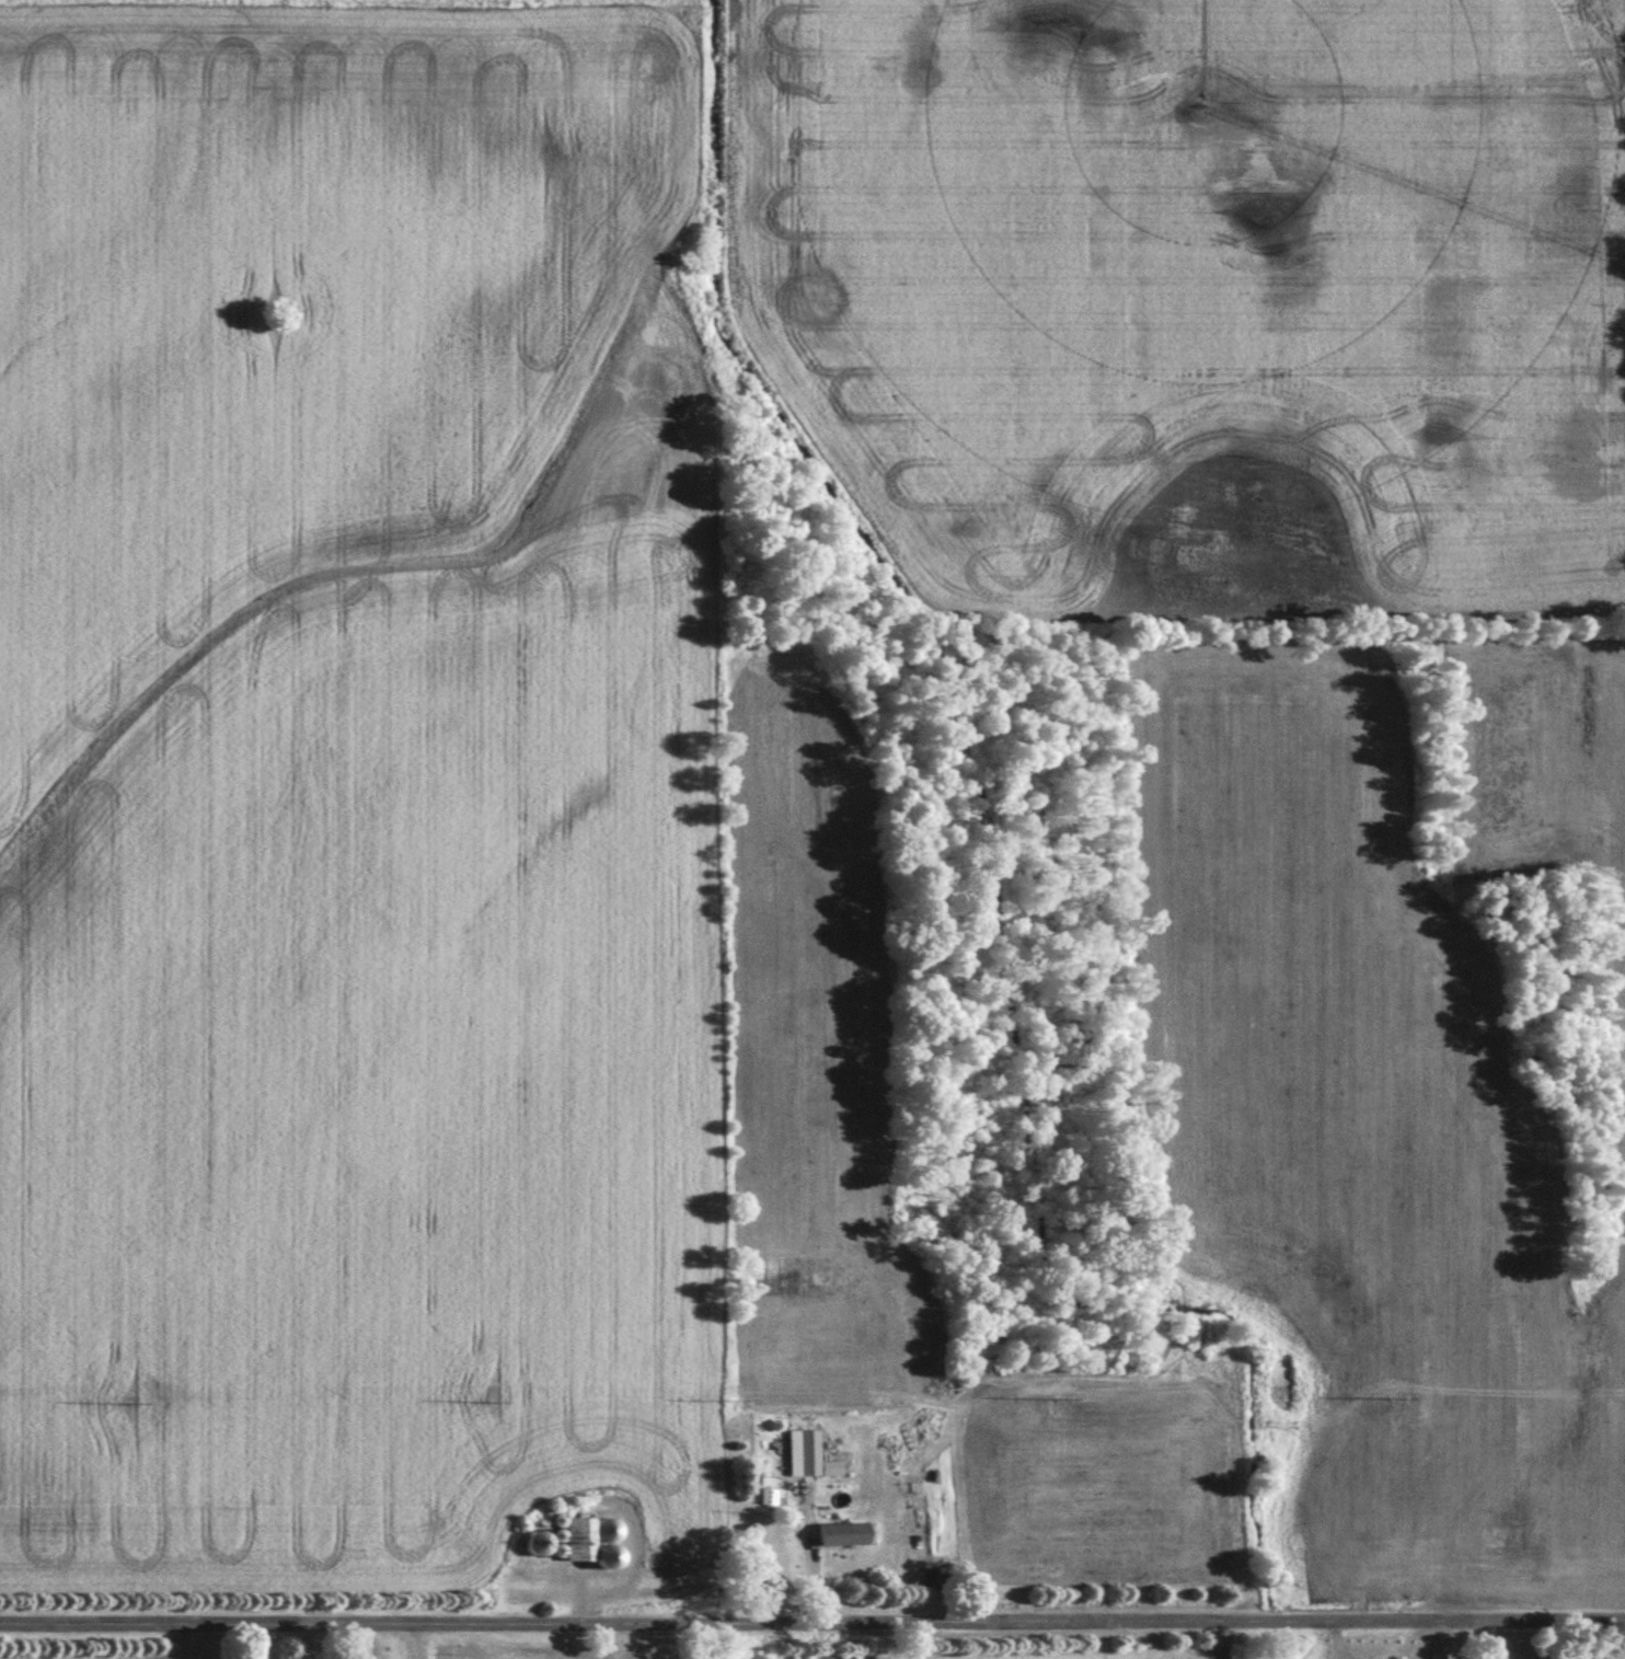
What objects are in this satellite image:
building: (808, 1459)
building: (841, 1536)
building: (577, 1541)
road: (812, 1623)
crop: (71, 1655)
crop: (1084, 1655)

